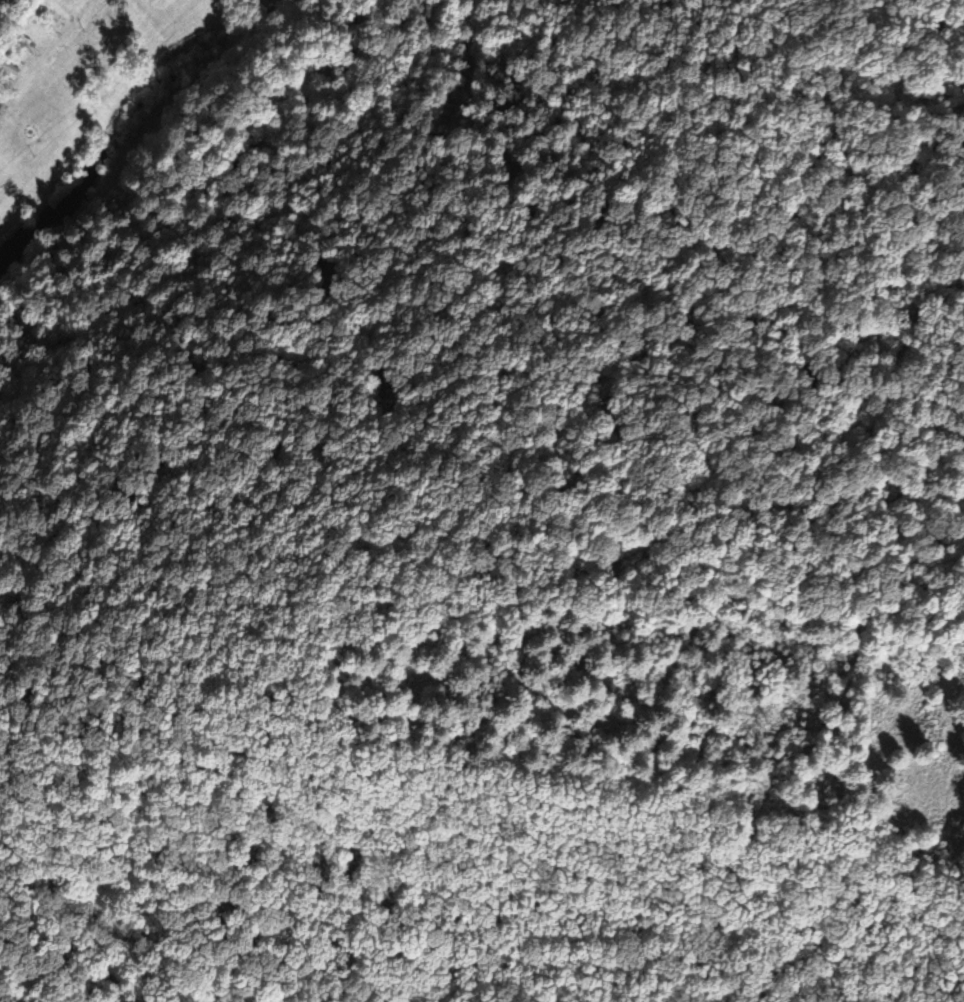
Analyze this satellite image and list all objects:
road: (186, 148)
road: (236, 210)

